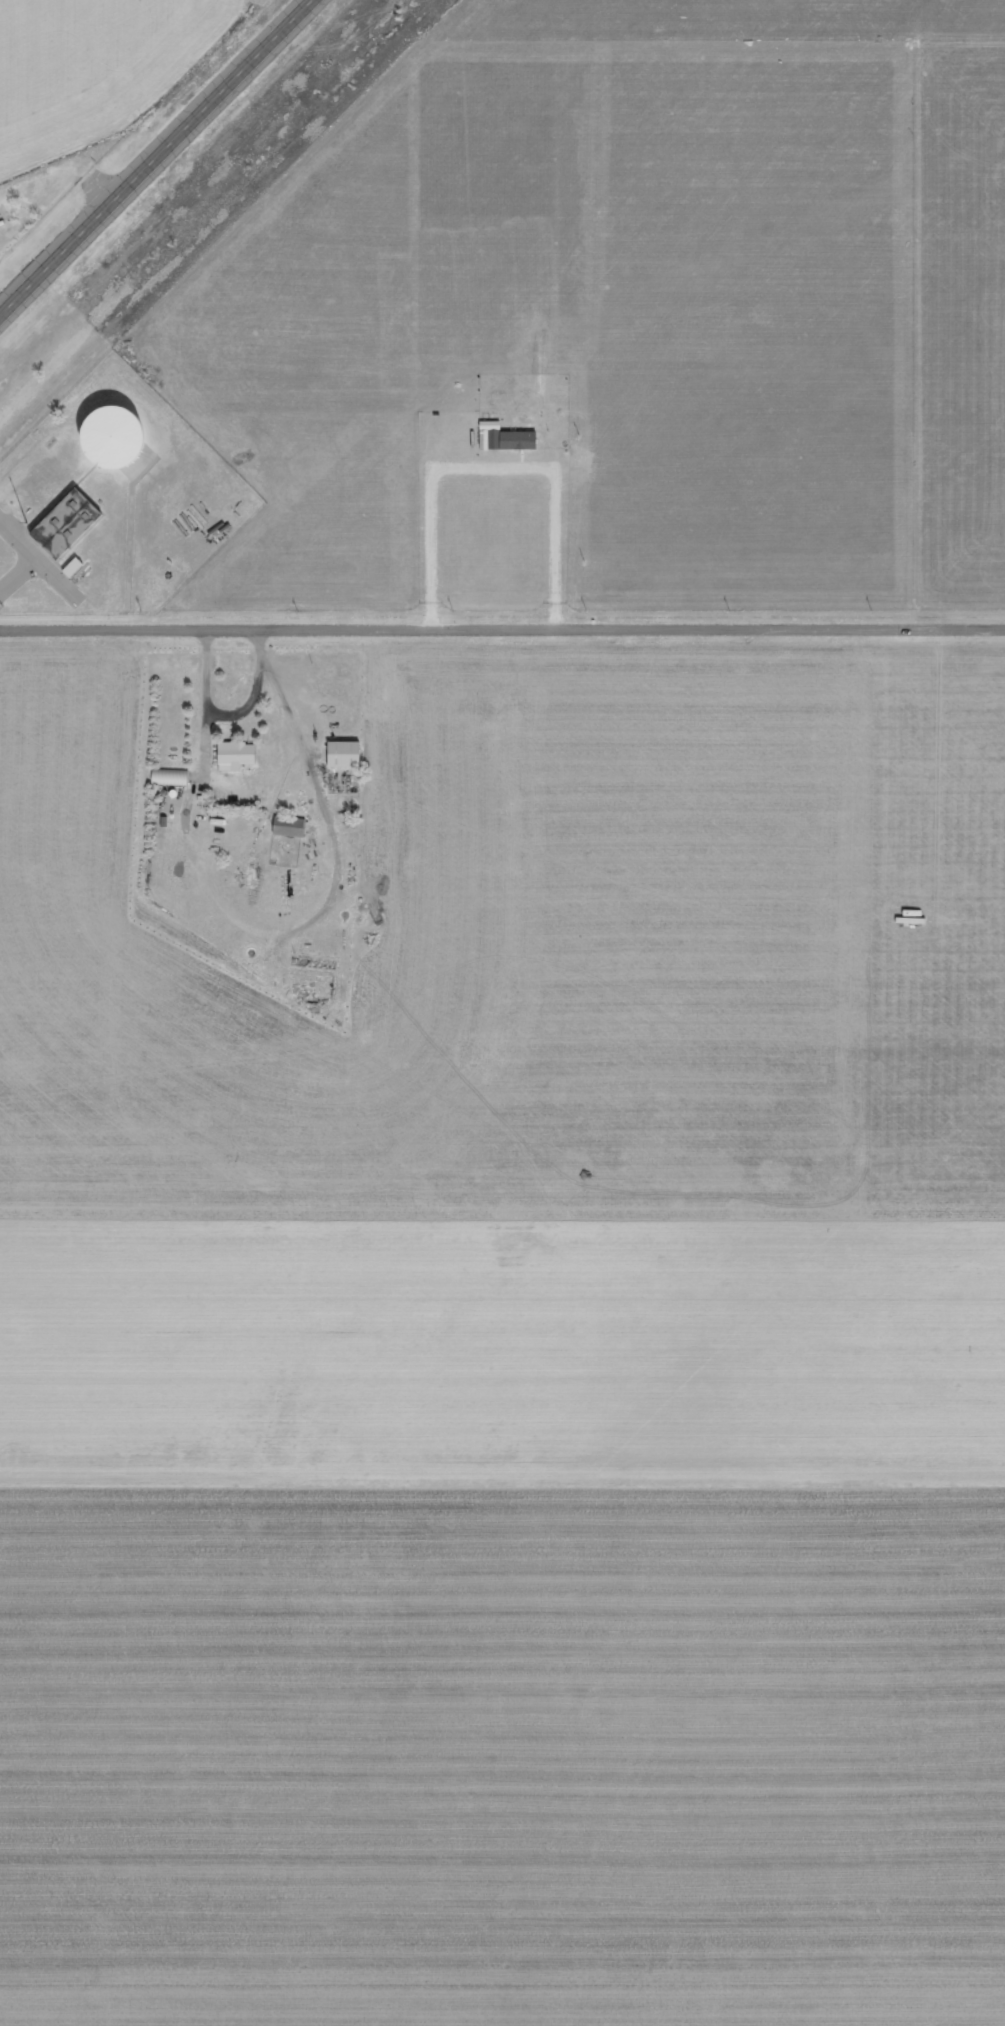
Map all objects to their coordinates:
road: (261, 27)
road: (157, 159)
building: (0, 207)
building: (517, 439)
building: (70, 566)
road: (502, 626)
building: (340, 753)
building: (233, 754)
building: (168, 776)
building: (288, 825)

